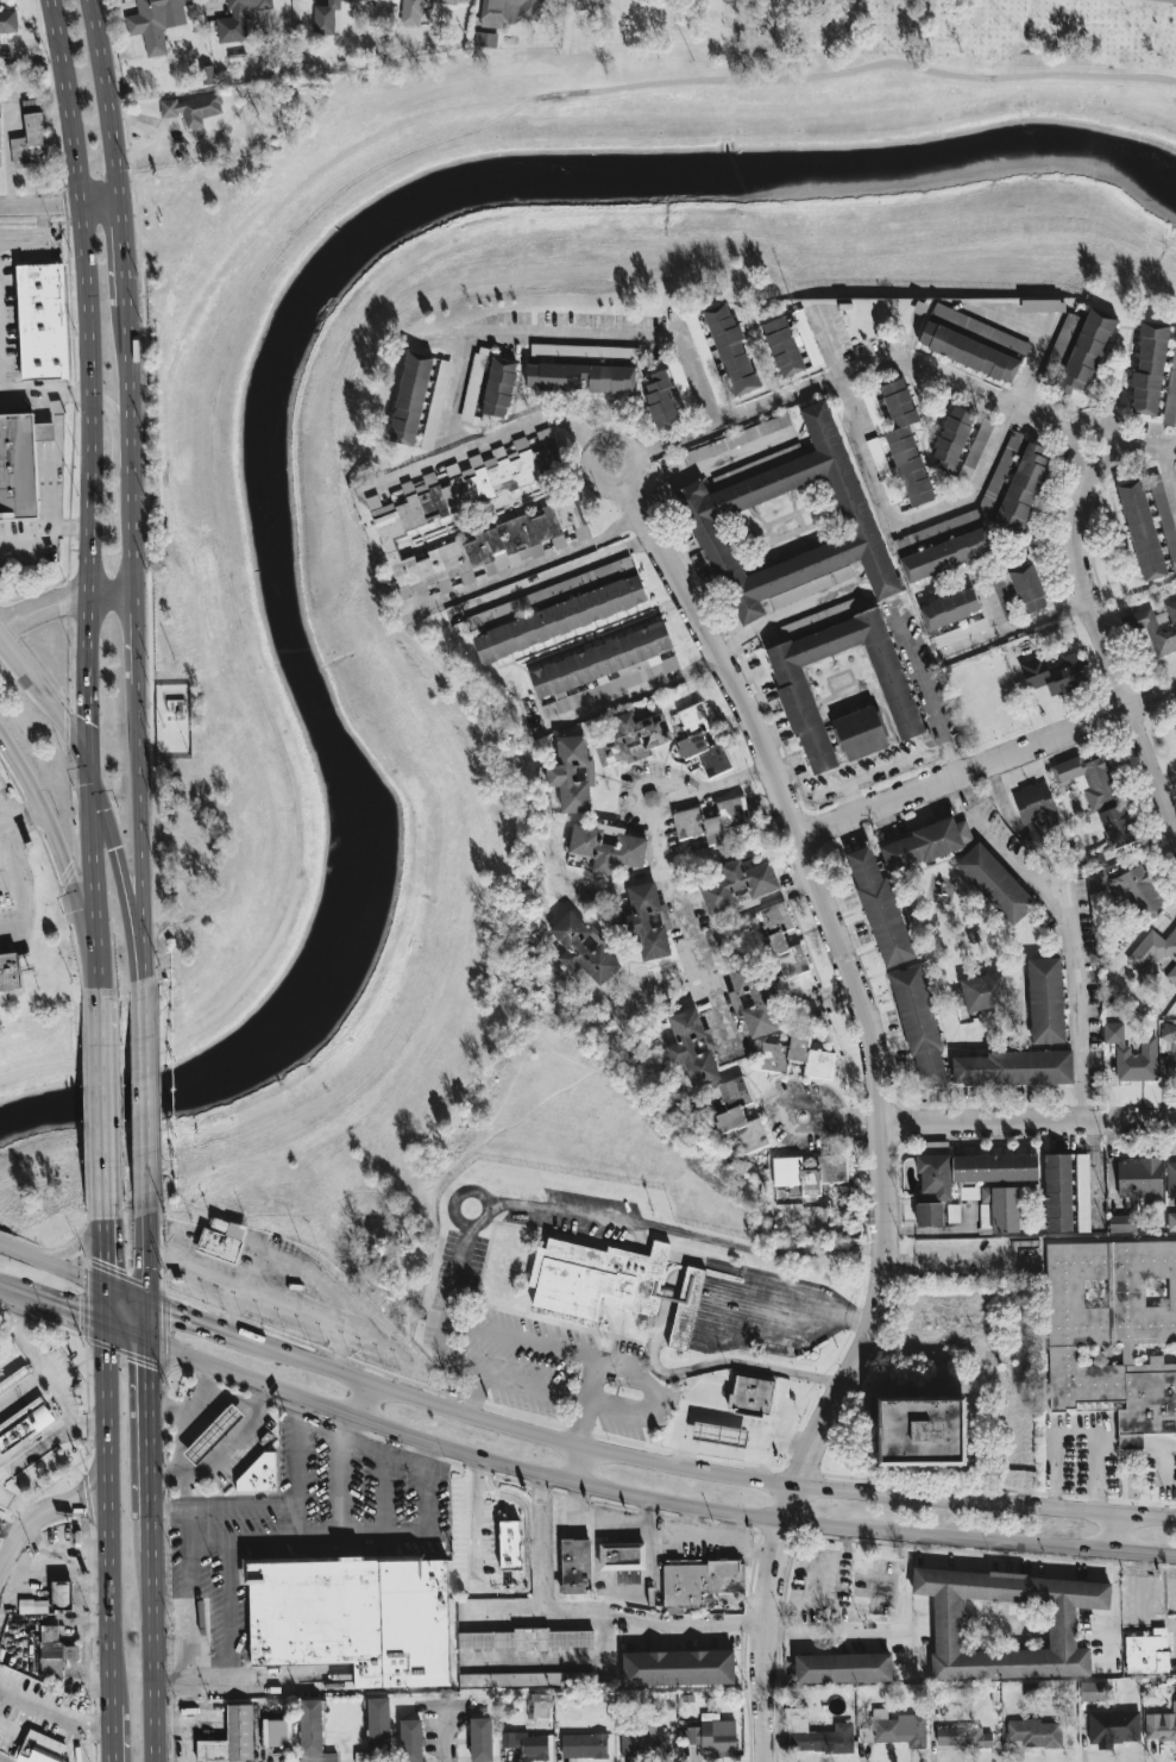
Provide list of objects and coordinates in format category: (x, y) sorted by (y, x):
road: (1170, 0)
building: (421, 10)
building: (512, 10)
building: (327, 18)
building: (238, 19)
building: (8, 20)
building: (156, 23)
building: (485, 39)
building: (0, 44)
park: (853, 44)
building: (207, 75)
road: (107, 100)
building: (31, 106)
building: (193, 109)
building: (30, 143)
building: (0, 152)
road: (61, 205)
road: (149, 207)
road: (176, 213)
road: (38, 238)
road: (124, 244)
road: (184, 244)
building: (1043, 305)
building: (42, 320)
road: (1019, 324)
road: (604, 333)
building: (806, 338)
building: (973, 343)
building: (782, 346)
building: (731, 350)
building: (585, 351)
building: (1086, 351)
road: (895, 358)
building: (706, 359)
building: (1149, 369)
river: (278, 371)
building: (580, 377)
road: (458, 380)
road: (88, 382)
building: (473, 385)
building: (681, 385)
building: (499, 387)
road: (44, 391)
building: (1171, 394)
building: (410, 399)
building: (661, 399)
building: (436, 405)
building: (874, 410)
road: (1093, 416)
road: (119, 432)
building: (952, 438)
road: (677, 439)
building: (736, 439)
road: (488, 441)
road: (1146, 447)
building: (975, 449)
building: (901, 451)
road: (636, 454)
building: (17, 464)
road: (710, 466)
building: (1000, 471)
road: (1169, 472)
building: (730, 477)
building: (1023, 488)
road: (50, 493)
road: (954, 506)
building: (402, 516)
building: (1165, 518)
building: (790, 523)
road: (70, 527)
building: (938, 529)
building: (1142, 529)
building: (945, 554)
road: (558, 573)
road: (1083, 588)
road: (65, 589)
building: (1019, 590)
road: (63, 606)
road: (987, 607)
building: (949, 608)
building: (556, 609)
road: (782, 613)
road: (134, 619)
road: (1015, 627)
building: (1159, 628)
building: (958, 633)
building: (603, 669)
road: (30, 671)
building: (1054, 673)
road: (930, 692)
road: (627, 694)
building: (797, 697)
traffic signals: (92, 717)
building: (860, 733)
building: (628, 736)
road: (76, 740)
building: (702, 740)
road: (988, 763)
road: (885, 766)
road: (1152, 771)
building: (572, 773)
building: (1089, 778)
road: (19, 813)
building: (1034, 814)
road: (1, 819)
building: (711, 821)
building: (1117, 826)
building: (925, 844)
traffic signals: (115, 845)
building: (606, 847)
road: (63, 859)
road: (118, 859)
building: (1096, 859)
traffic signals: (65, 864)
road: (659, 866)
parking lot: (13, 876)
road: (14, 883)
road: (98, 883)
building: (995, 883)
road: (7, 885)
building: (735, 886)
building: (1130, 888)
building: (879, 905)
building: (648, 921)
road: (1070, 927)
building: (781, 941)
building: (585, 948)
building: (1155, 952)
road: (61, 966)
building: (15, 976)
building: (985, 991)
building: (756, 999)
building: (1045, 1001)
road: (26, 1004)
building: (919, 1027)
building: (1170, 1046)
building: (693, 1048)
building: (1132, 1054)
building: (798, 1056)
building: (1012, 1067)
road: (142, 1078)
road: (105, 1106)
road: (882, 1108)
building: (737, 1115)
road: (843, 1116)
road: (1030, 1120)
building: (994, 1167)
building: (811, 1173)
building: (935, 1175)
building: (1171, 1177)
building: (1139, 1178)
building: (969, 1192)
building: (1058, 1192)
building: (1083, 1192)
building: (999, 1209)
road: (561, 1210)
building: (929, 1214)
building: (954, 1214)
building: (1171, 1222)
building: (1122, 1223)
building: (221, 1239)
road: (145, 1241)
road: (77, 1246)
road: (107, 1250)
traffic signals: (107, 1259)
road: (52, 1264)
road: (215, 1269)
building: (596, 1278)
road: (11, 1290)
road: (146, 1290)
road: (126, 1293)
road: (107, 1305)
building: (686, 1308)
road: (64, 1310)
traffic signals: (170, 1310)
road: (307, 1311)
traffic signals: (77, 1315)
road: (188, 1316)
road: (146, 1321)
road: (126, 1333)
building: (1114, 1333)
road: (394, 1347)
road: (565, 1349)
traffic signals: (146, 1363)
road: (43, 1375)
road: (533, 1386)
road: (21, 1390)
building: (751, 1396)
road: (232, 1397)
road: (359, 1397)
road: (190, 1409)
road: (300, 1411)
building: (23, 1423)
road: (346, 1426)
road: (146, 1431)
building: (923, 1431)
building: (719, 1432)
building: (214, 1435)
road: (1077, 1437)
road: (232, 1438)
road: (181, 1441)
road: (363, 1446)
road: (39, 1448)
road: (430, 1456)
road: (584, 1466)
road: (693, 1469)
road: (181, 1471)
building: (257, 1474)
road: (296, 1479)
road: (339, 1487)
road: (384, 1494)
road: (649, 1499)
road: (428, 1503)
road: (17, 1504)
road: (222, 1506)
road: (37, 1513)
road: (107, 1515)
road: (472, 1523)
road: (1117, 1534)
road: (308, 1537)
road: (541, 1542)
building: (510, 1545)
road: (526, 1545)
building: (622, 1556)
road: (1017, 1561)
building: (576, 1567)
building: (700, 1581)
building: (62, 1592)
road: (189, 1595)
road: (1115, 1595)
road: (912, 1606)
road: (228, 1611)
road: (614, 1613)
building: (354, 1617)
building: (1010, 1623)
road: (838, 1636)
building: (526, 1639)
road: (152, 1641)
road: (602, 1647)
building: (1147, 1653)
road: (532, 1662)
building: (678, 1667)
building: (843, 1668)
building: (526, 1680)
road: (250, 1681)
building: (1094, 1691)
building: (540, 1706)
road: (56, 1712)
building: (1113, 1727)
building: (899, 1729)
building: (1162, 1729)
building: (377, 1731)
road: (111, 1732)
building: (275, 1732)
building: (313, 1732)
building: (1034, 1732)
building: (715, 1735)
building: (816, 1735)
building: (962, 1736)
building: (231, 1738)
building: (480, 1739)
building: (410, 1741)
building: (644, 1743)
building: (527, 1744)
building: (584, 1745)
building: (44, 1747)

